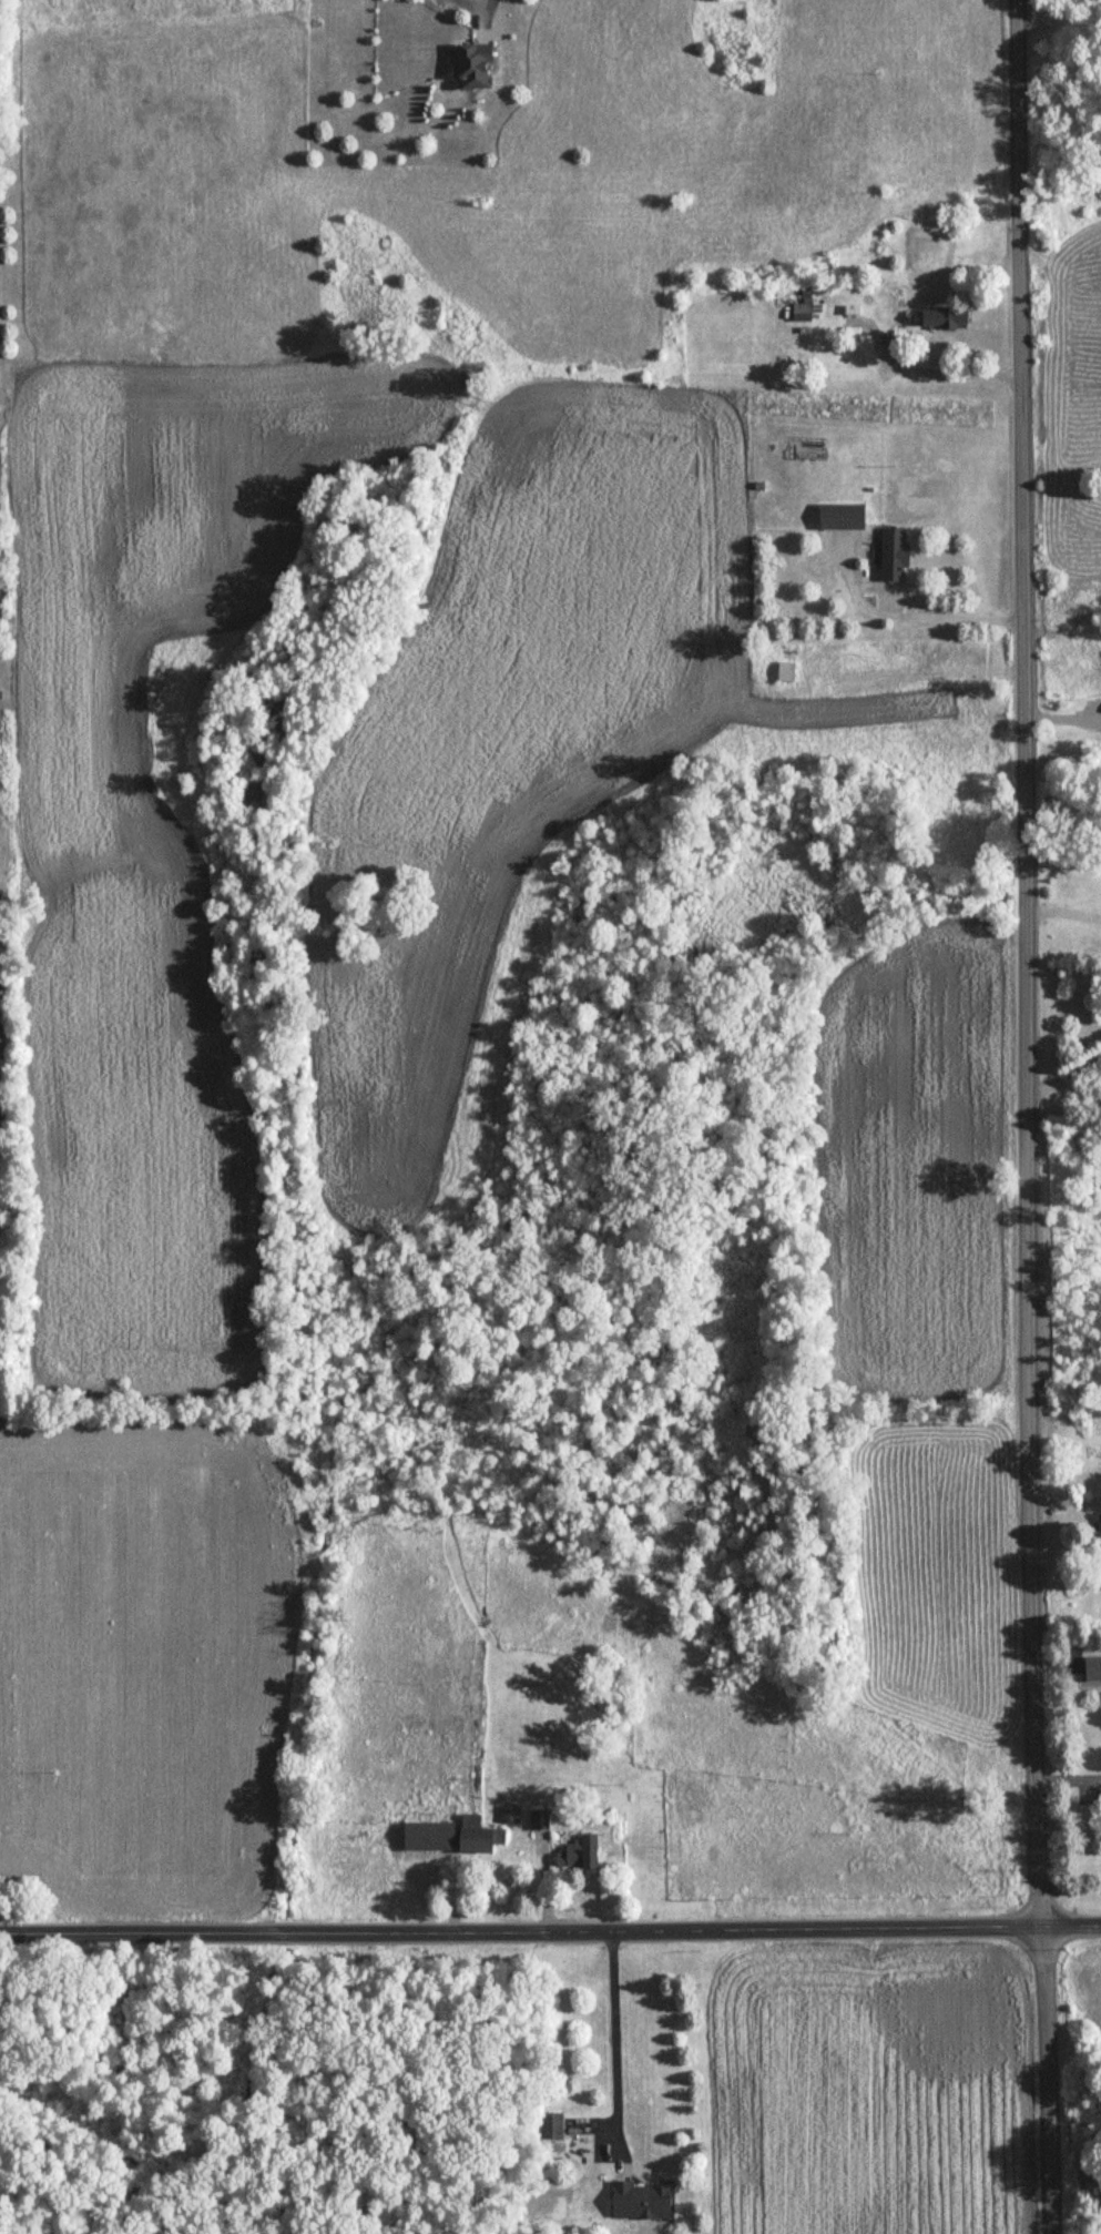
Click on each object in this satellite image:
road: (489, 6)
building: (471, 68)
building: (806, 297)
building: (942, 319)
road: (950, 369)
building: (839, 518)
building: (893, 556)
road: (915, 621)
building: (785, 673)
road: (1061, 913)
road: (1064, 1080)
road: (1026, 1117)
building: (1097, 1532)
building: (1092, 1671)
building: (509, 1816)
building: (539, 1821)
building: (451, 1838)
building: (577, 1856)
road: (550, 1928)
road: (608, 2035)
building: (550, 2126)
building: (641, 2202)

